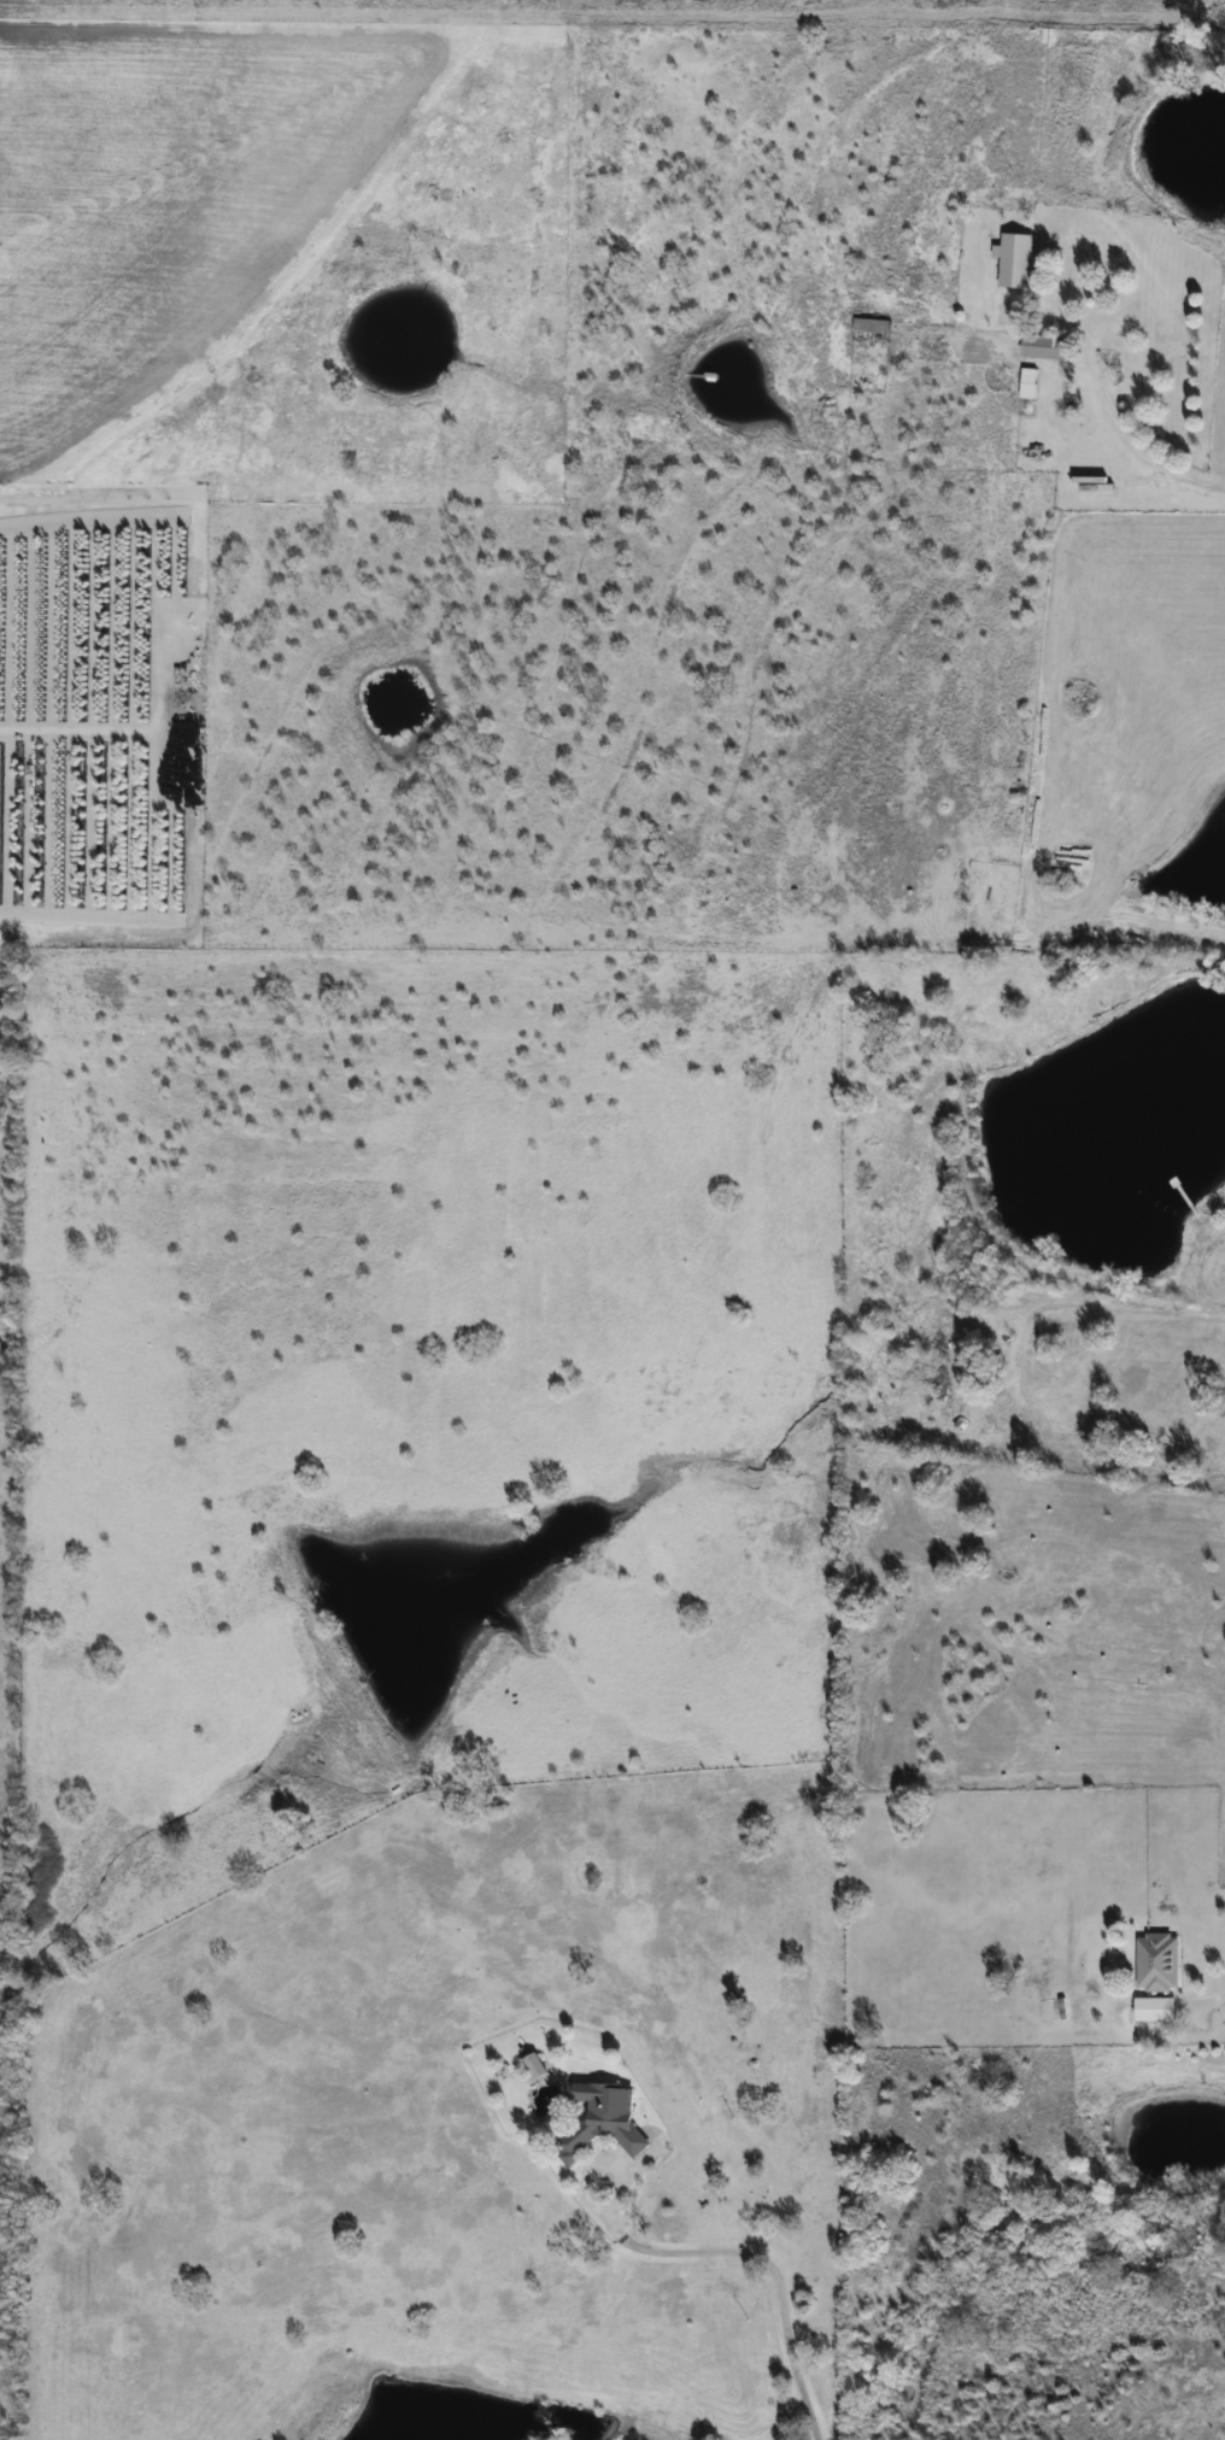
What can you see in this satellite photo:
building: (1014, 260)
building: (1043, 347)
building: (1027, 383)
road: (1137, 451)
building: (1156, 1963)
road: (1215, 1995)
building: (1153, 2010)
building: (534, 2065)
building: (599, 2122)
road: (792, 2363)

